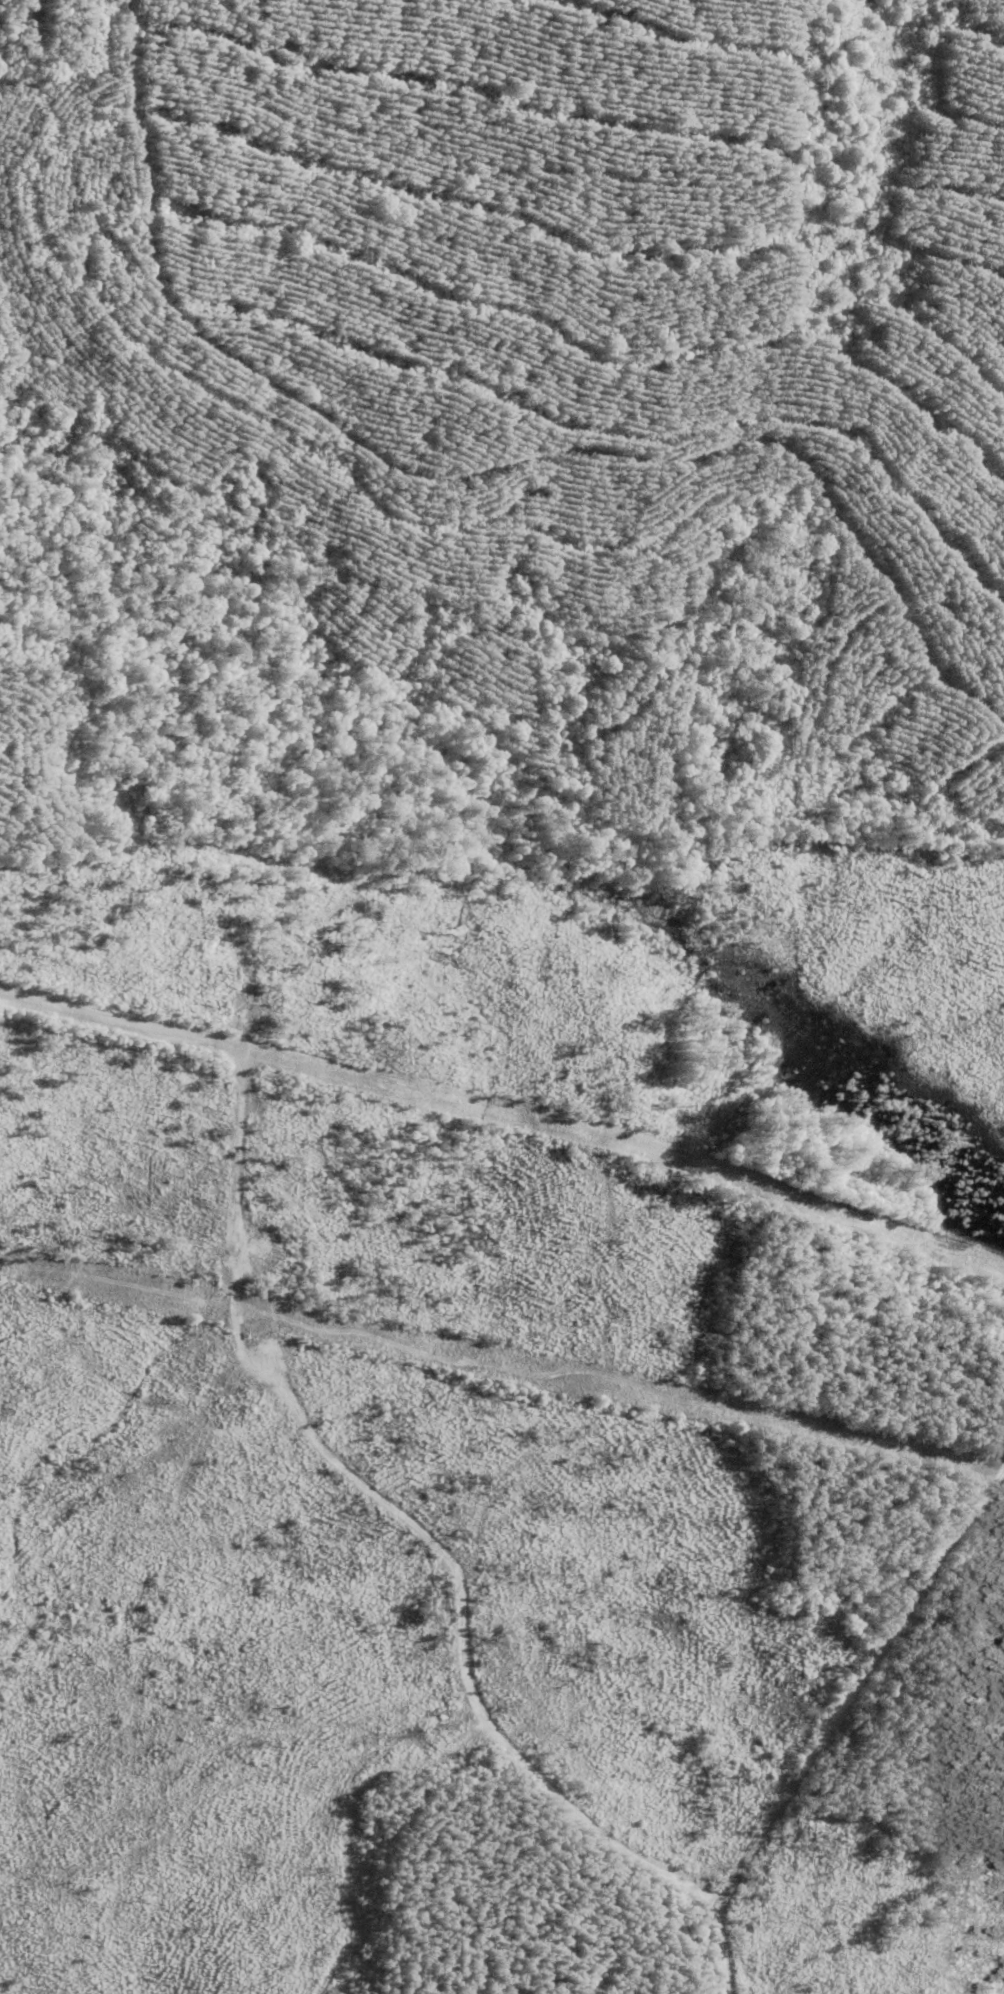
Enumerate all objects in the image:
road: (833, 1729)

